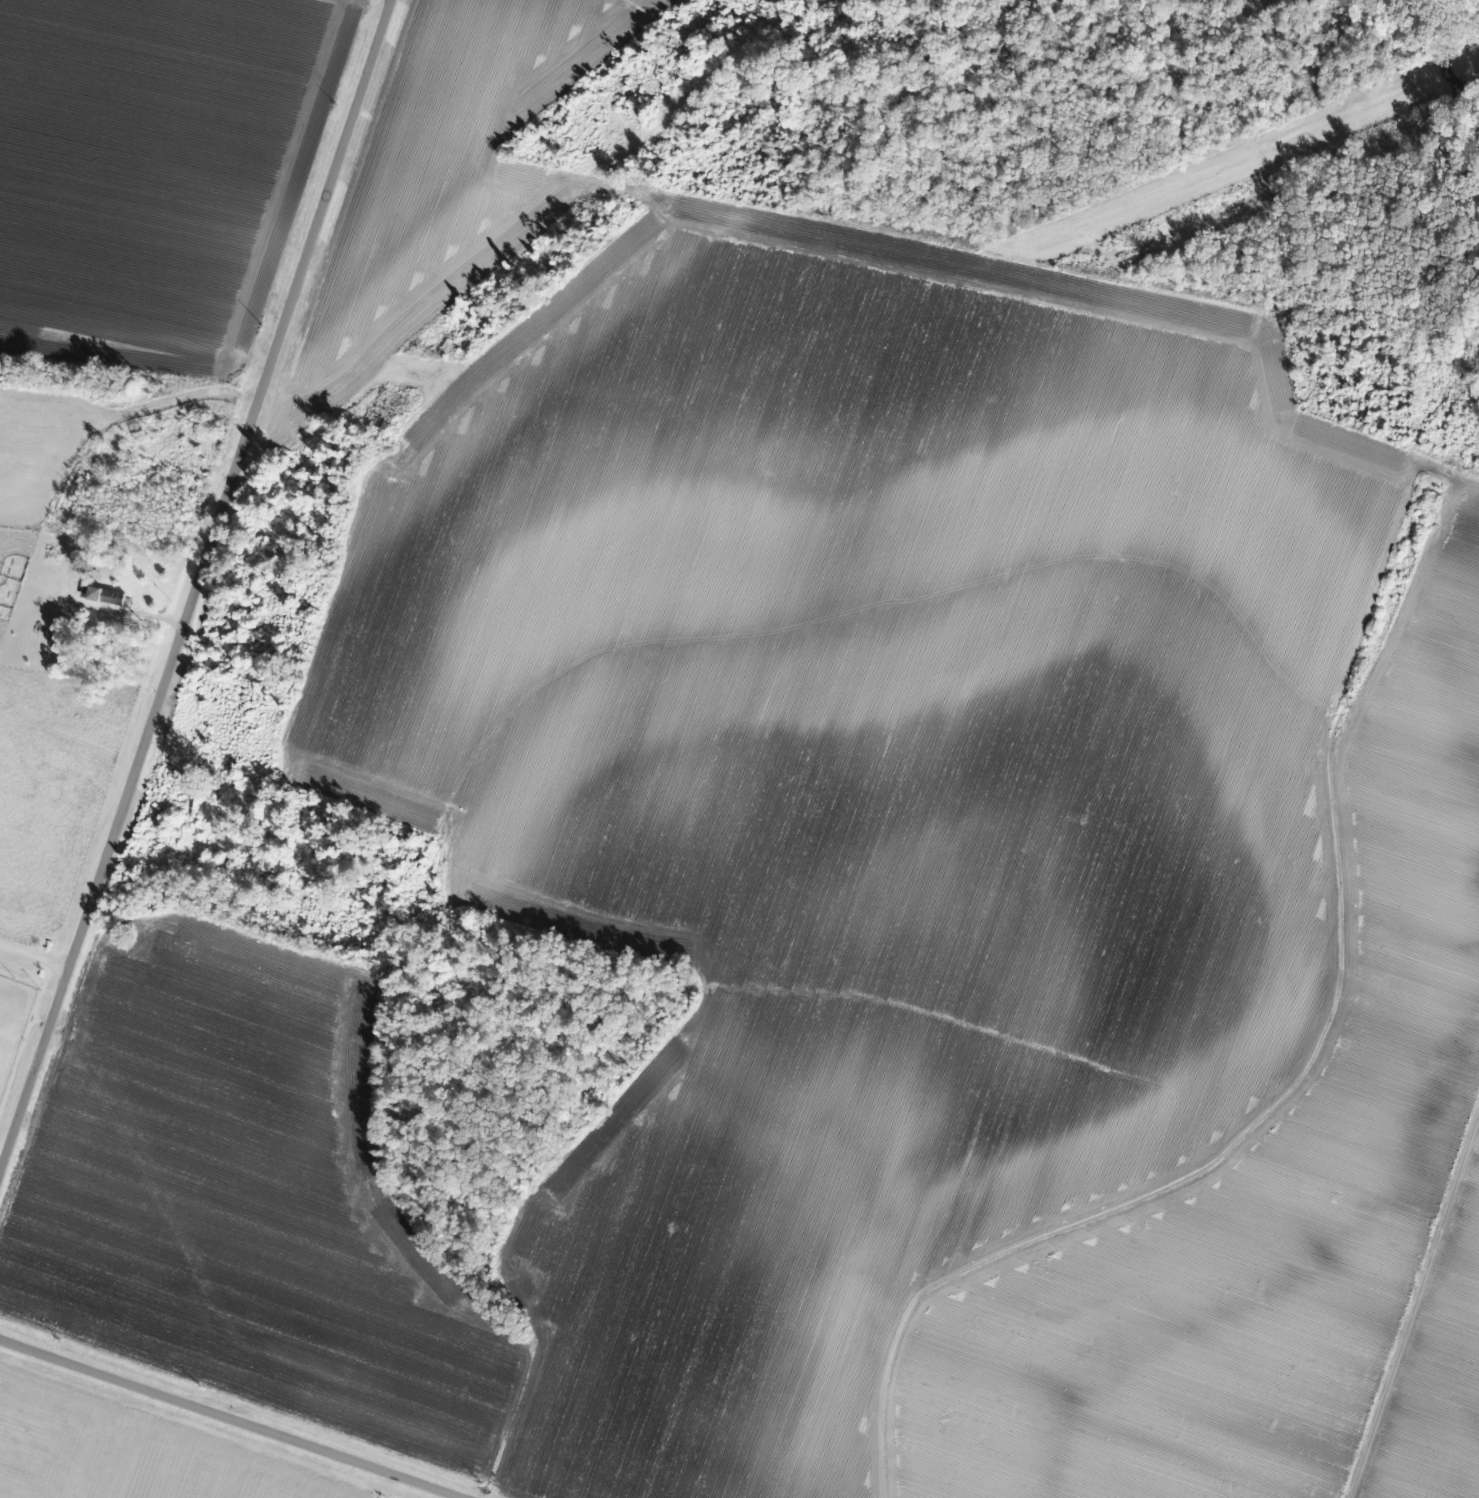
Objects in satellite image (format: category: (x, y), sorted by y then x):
road: (204, 591)
building: (114, 595)
road: (36, 957)
road: (237, 1416)

